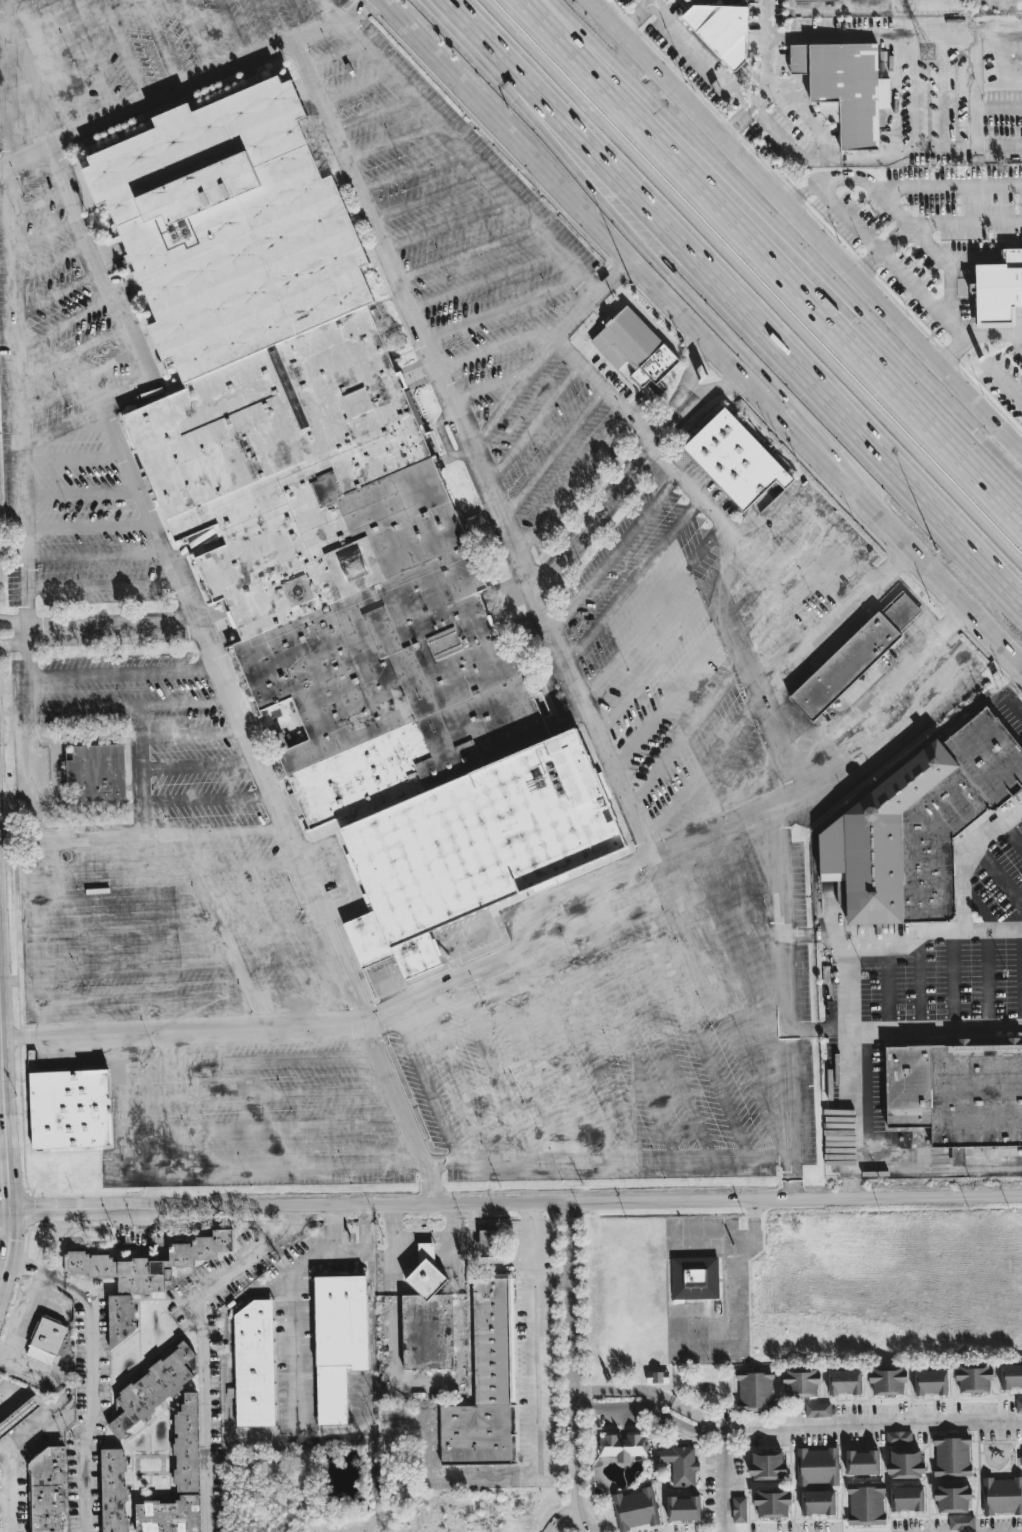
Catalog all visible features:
building: (812, 0)
building: (860, 0)
road: (651, 4)
road: (332, 10)
road: (604, 16)
road: (295, 18)
road: (263, 24)
road: (2, 26)
building: (720, 29)
road: (231, 30)
road: (830, 33)
road: (970, 33)
road: (196, 37)
road: (473, 40)
road: (159, 43)
road: (124, 50)
power tower: (927, 52)
road: (333, 54)
road: (89, 57)
road: (55, 63)
road: (701, 69)
road: (28, 85)
road: (354, 86)
building: (844, 93)
road: (999, 111)
road: (373, 115)
road: (774, 128)
road: (391, 143)
road: (996, 148)
road: (25, 156)
road: (410, 170)
road: (429, 199)
road: (40, 202)
road: (447, 226)
building: (230, 228)
road: (784, 230)
road: (43, 235)
road: (824, 238)
road: (611, 242)
road: (465, 253)
road: (778, 257)
road: (929, 260)
road: (49, 265)
road: (612, 277)
road: (484, 281)
road: (679, 282)
road: (753, 284)
building: (999, 291)
road: (55, 294)
road: (929, 299)
road: (502, 309)
road: (15, 315)
road: (66, 322)
road: (977, 336)
road: (1019, 338)
road: (505, 342)
building: (634, 348)
road: (767, 350)
road: (72, 352)
road: (589, 373)
road: (690, 375)
road: (79, 383)
road: (491, 384)
road: (712, 391)
road: (513, 394)
road: (533, 424)
road: (62, 427)
road: (471, 447)
road: (552, 454)
road: (72, 458)
building: (735, 460)
road: (571, 484)
road: (80, 493)
road: (805, 504)
road: (603, 505)
road: (89, 526)
road: (13, 548)
road: (614, 554)
road: (95, 556)
road: (900, 563)
building: (339, 568)
road: (776, 574)
road: (934, 575)
road: (633, 581)
road: (103, 584)
road: (795, 604)
road: (652, 612)
building: (900, 612)
road: (14, 624)
road: (114, 628)
road: (206, 637)
road: (826, 639)
road: (15, 641)
parking lot: (393, 644)
road: (662, 652)
building: (844, 666)
road: (28, 670)
road: (124, 673)
road: (882, 691)
road: (670, 699)
road: (185, 704)
road: (83, 707)
road: (192, 735)
road: (686, 735)
road: (200, 765)
road: (702, 771)
building: (96, 773)
road: (32, 774)
road: (733, 783)
road: (207, 799)
road: (215, 831)
road: (134, 834)
building: (927, 834)
road: (1011, 838)
building: (474, 846)
road: (971, 860)
road: (239, 865)
road: (342, 873)
road: (998, 878)
road: (251, 897)
road: (190, 899)
road: (750, 908)
road: (263, 929)
road: (902, 938)
road: (39, 941)
road: (735, 959)
parking lot: (959, 960)
road: (189, 965)
road: (986, 982)
road: (1021, 982)
road: (951, 983)
road: (887, 984)
road: (917, 984)
road: (197, 998)
road: (785, 999)
road: (720, 1004)
road: (686, 1011)
road: (0, 1016)
road: (652, 1018)
road: (620, 1025)
road: (903, 1030)
road: (184, 1035)
road: (588, 1044)
road: (558, 1055)
road: (249, 1060)
road: (525, 1062)
road: (490, 1069)
road: (851, 1069)
road: (2, 1071)
road: (457, 1076)
road: (426, 1084)
road: (258, 1094)
building: (956, 1094)
road: (6, 1105)
road: (3, 1107)
building: (70, 1109)
road: (123, 1109)
road: (265, 1127)
road: (4, 1138)
road: (532, 1160)
road: (417, 1163)
road: (272, 1165)
road: (938, 1169)
road: (431, 1182)
road: (5, 1185)
road: (516, 1201)
road: (334, 1227)
road: (370, 1228)
road: (6, 1232)
road: (50, 1238)
building: (487, 1242)
road: (738, 1248)
road: (20, 1263)
building: (147, 1263)
building: (694, 1277)
road: (395, 1297)
road: (739, 1314)
road: (24, 1315)
building: (119, 1317)
building: (427, 1317)
road: (575, 1338)
building: (47, 1340)
building: (338, 1341)
road: (538, 1341)
building: (499, 1342)
road: (203, 1347)
parking lot: (539, 1352)
road: (293, 1356)
building: (254, 1364)
road: (26, 1366)
building: (1011, 1376)
building: (656, 1377)
building: (973, 1377)
building: (886, 1379)
building: (843, 1381)
building: (800, 1382)
building: (930, 1382)
road: (90, 1386)
building: (154, 1388)
building: (754, 1391)
road: (623, 1395)
building: (1018, 1405)
building: (817, 1409)
road: (841, 1429)
building: (480, 1435)
road: (302, 1438)
building: (186, 1445)
building: (622, 1446)
building: (902, 1456)
building: (951, 1457)
building: (1020, 1459)
building: (861, 1462)
building: (680, 1464)
building: (767, 1465)
building: (816, 1466)
road: (459, 1480)
road: (723, 1481)
building: (112, 1490)
building: (47, 1491)
road: (8, 1492)
road: (577, 1495)
building: (1001, 1495)
building: (951, 1496)
road: (4, 1497)
building: (906, 1498)
building: (817, 1502)
building: (772, 1503)
building: (865, 1505)
building: (682, 1508)
building: (633, 1509)
building: (738, 1509)
road: (573, 1514)
building: (168, 1515)
building: (960, 1522)

